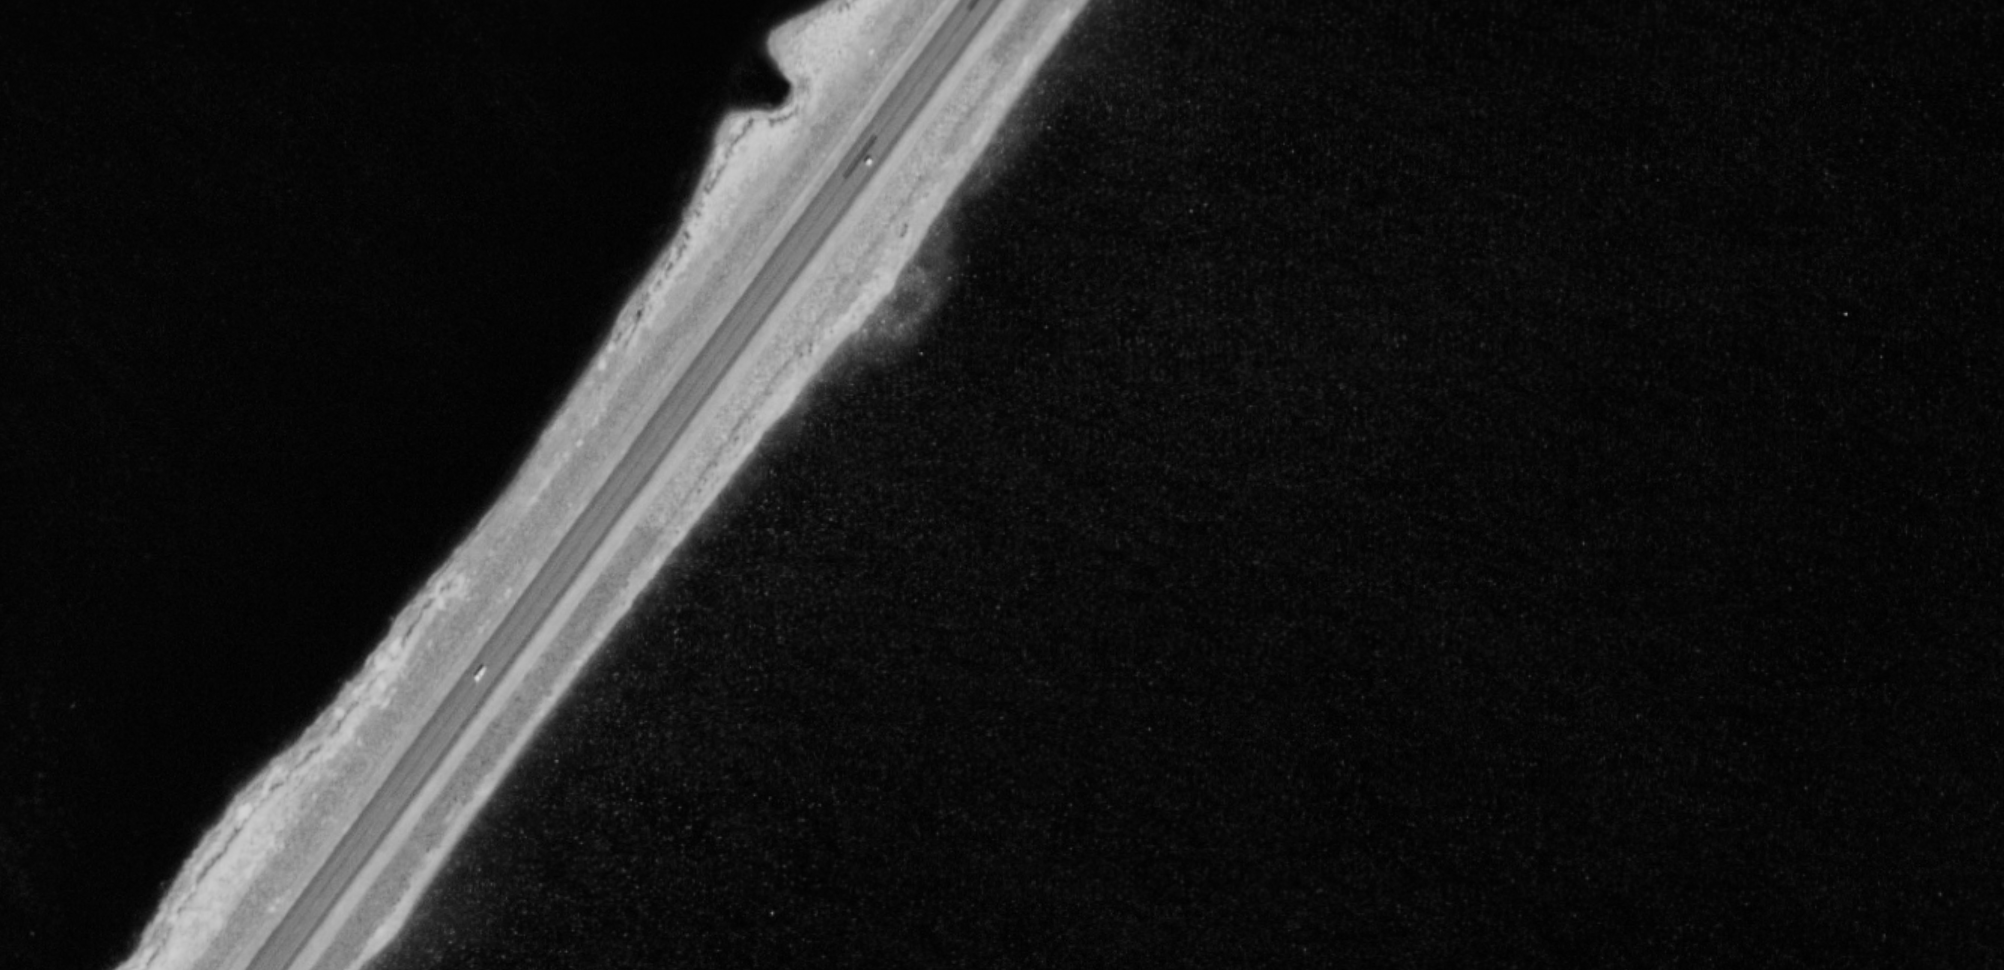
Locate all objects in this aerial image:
road: (631, 484)

